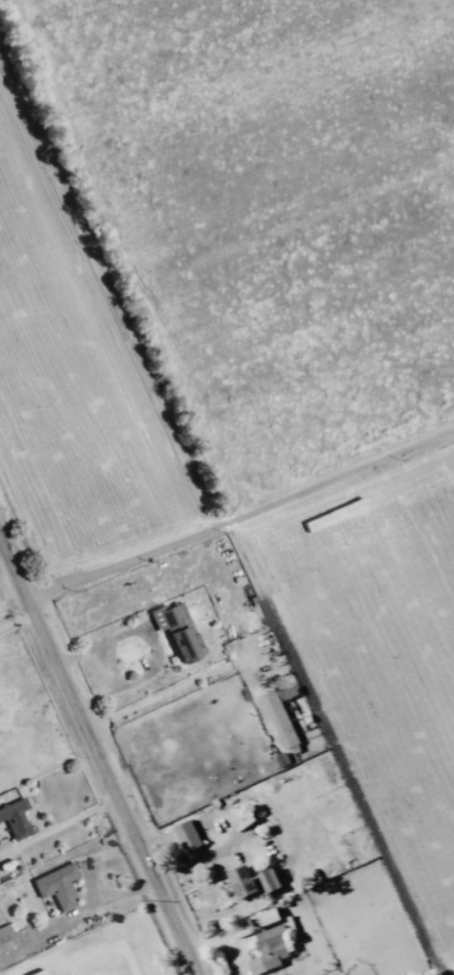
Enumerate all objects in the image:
crop: (266, 201)
crop: (75, 365)
road: (249, 533)
building: (177, 631)
crop: (376, 651)
building: (279, 719)
road: (98, 749)
building: (15, 819)
road: (60, 825)
building: (187, 835)
building: (251, 880)
building: (57, 885)
building: (265, 917)
building: (6, 936)
building: (270, 948)
building: (37, 972)

